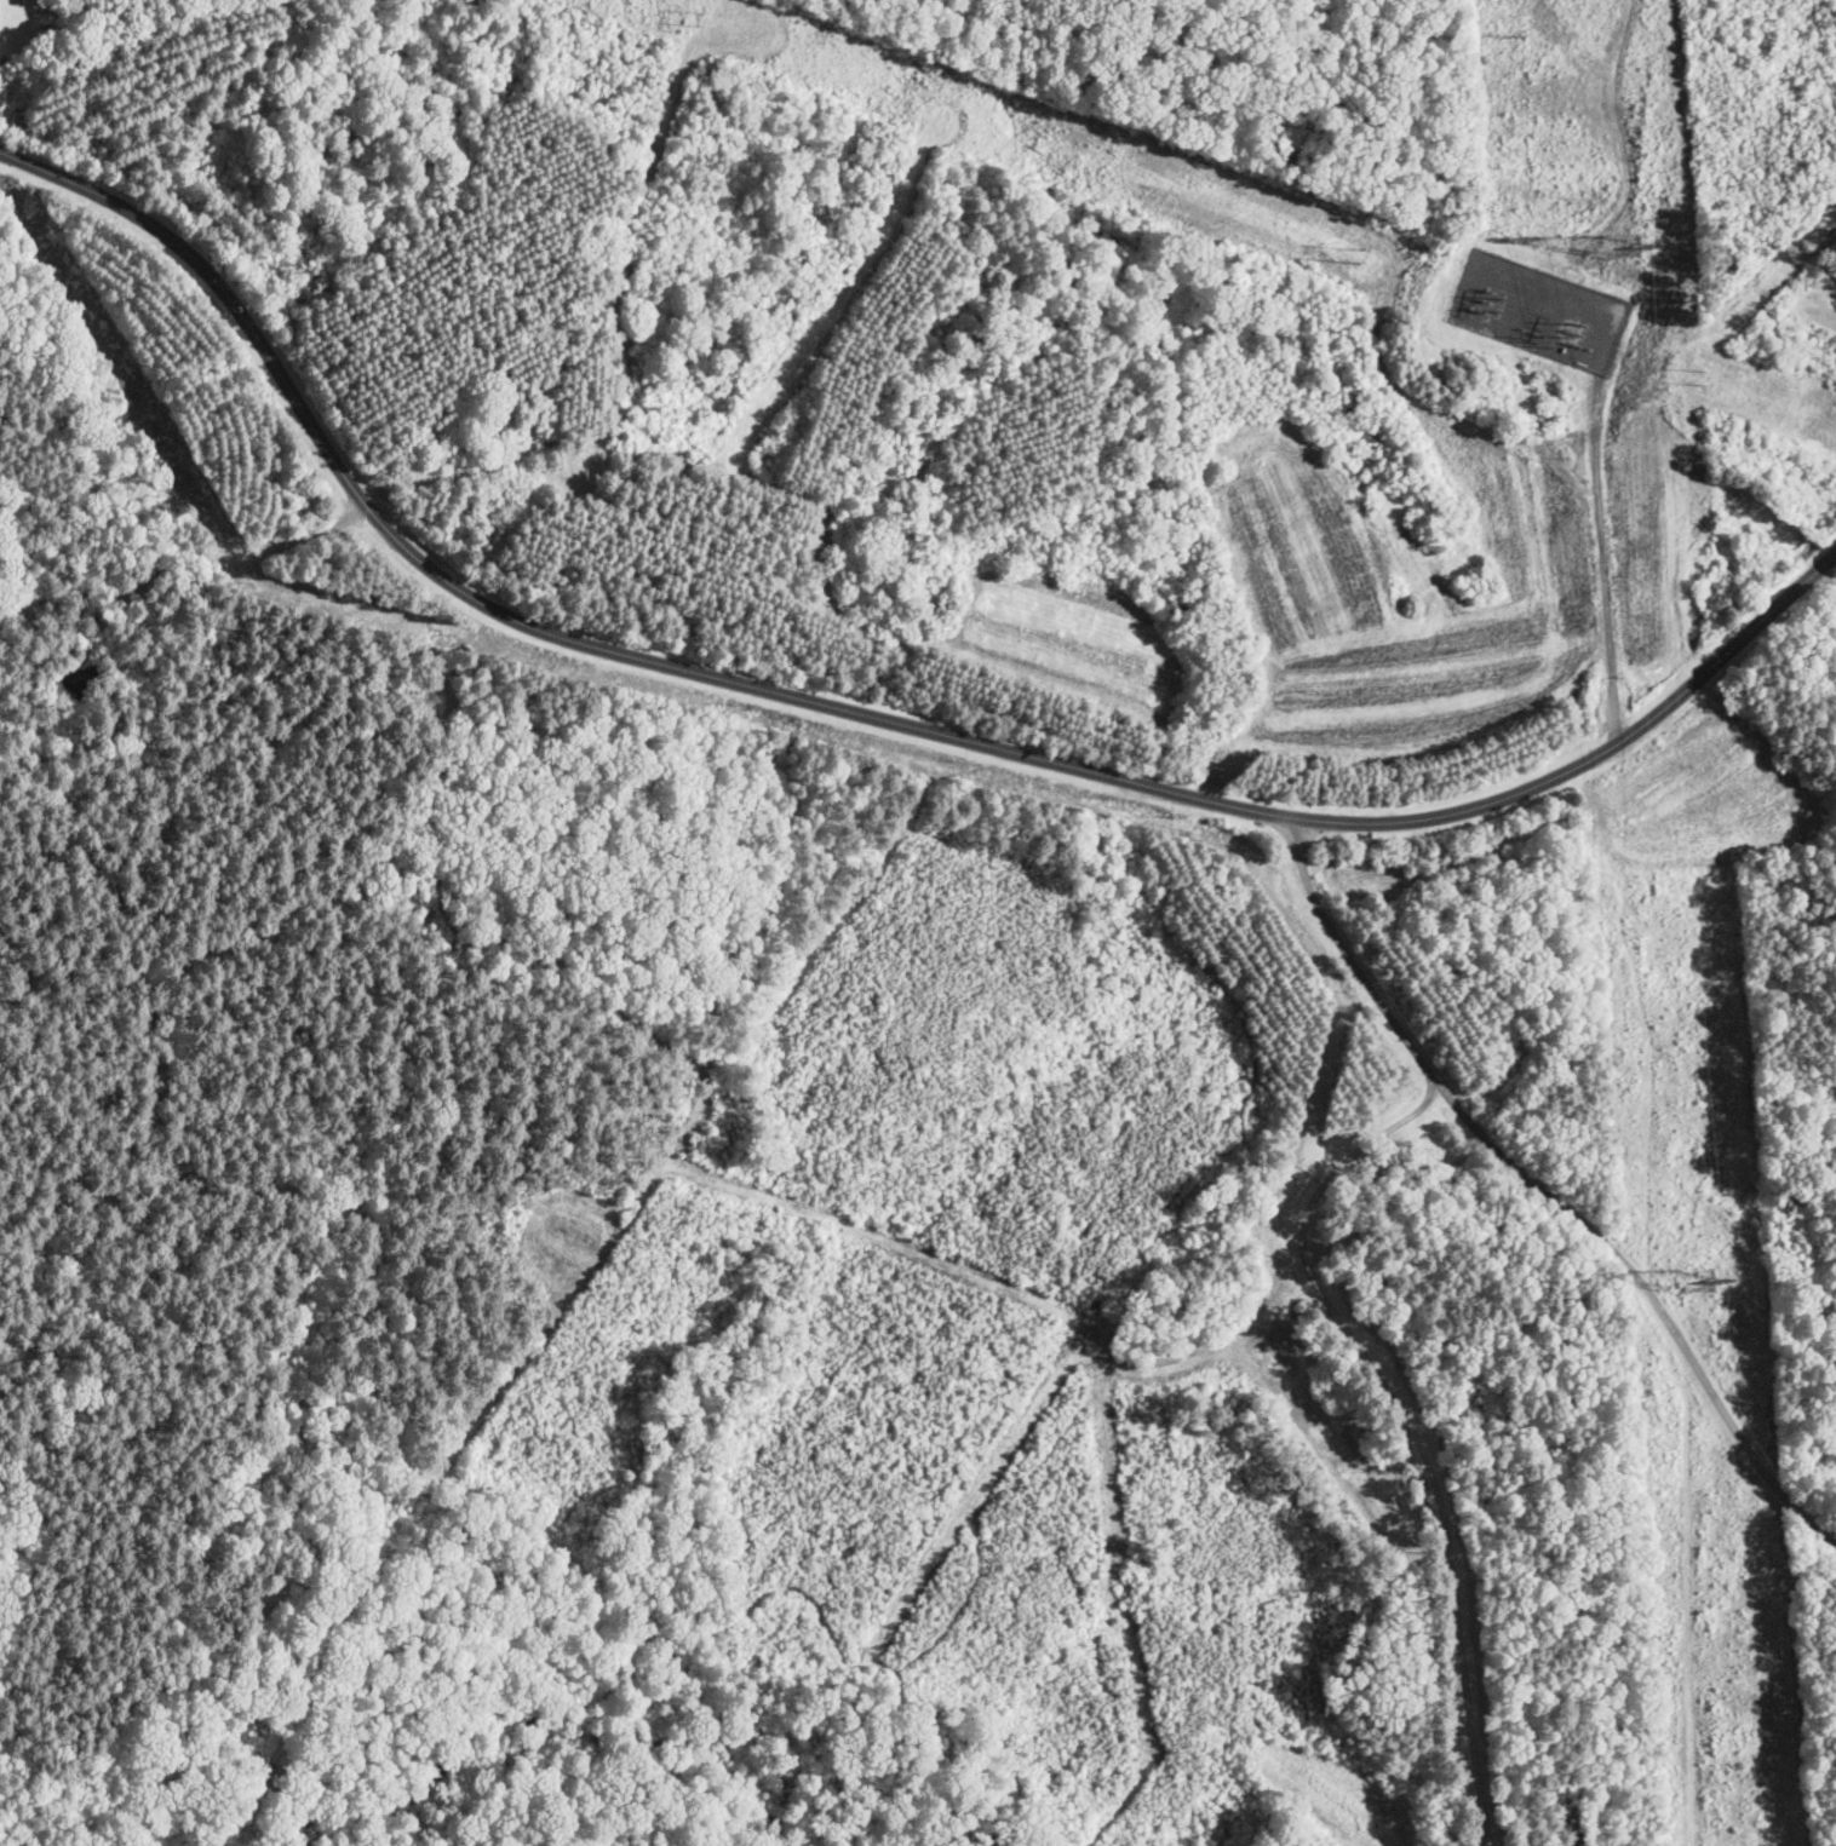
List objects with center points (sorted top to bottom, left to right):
power tower: (1515, 38)
power tower: (1628, 249)
power tower: (1359, 257)
power substation: (1538, 314)
power tower: (1551, 321)
power tower: (1703, 375)
road: (861, 712)
road: (1547, 1191)
power tower: (1697, 1292)

